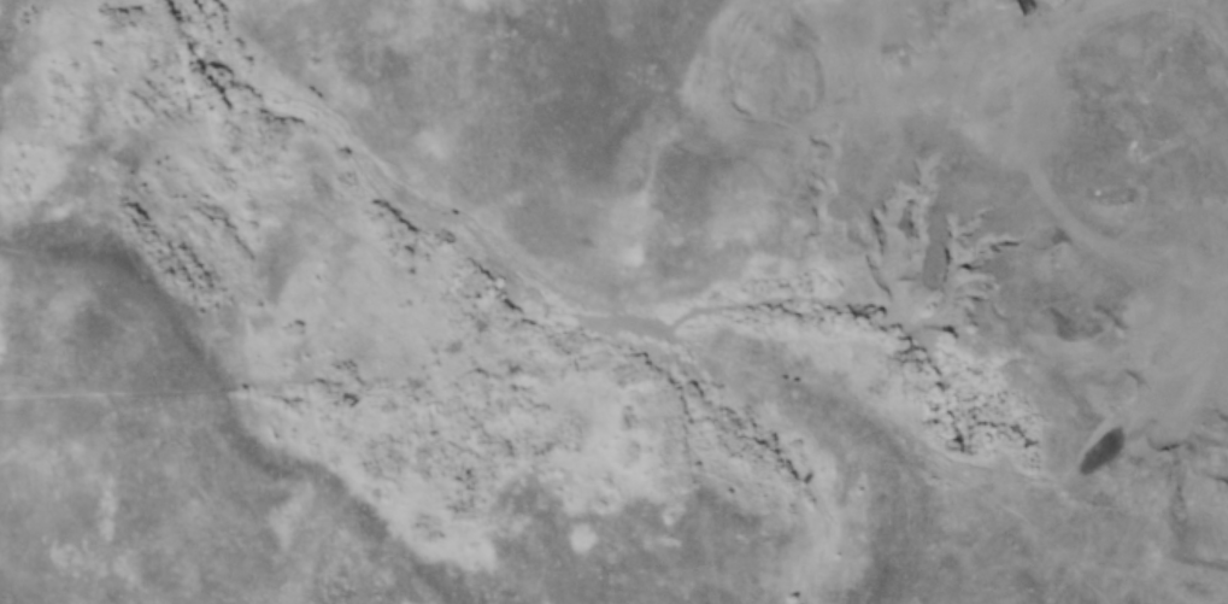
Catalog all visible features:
road: (1077, 8)
quarry: (1001, 178)
road: (1083, 399)

